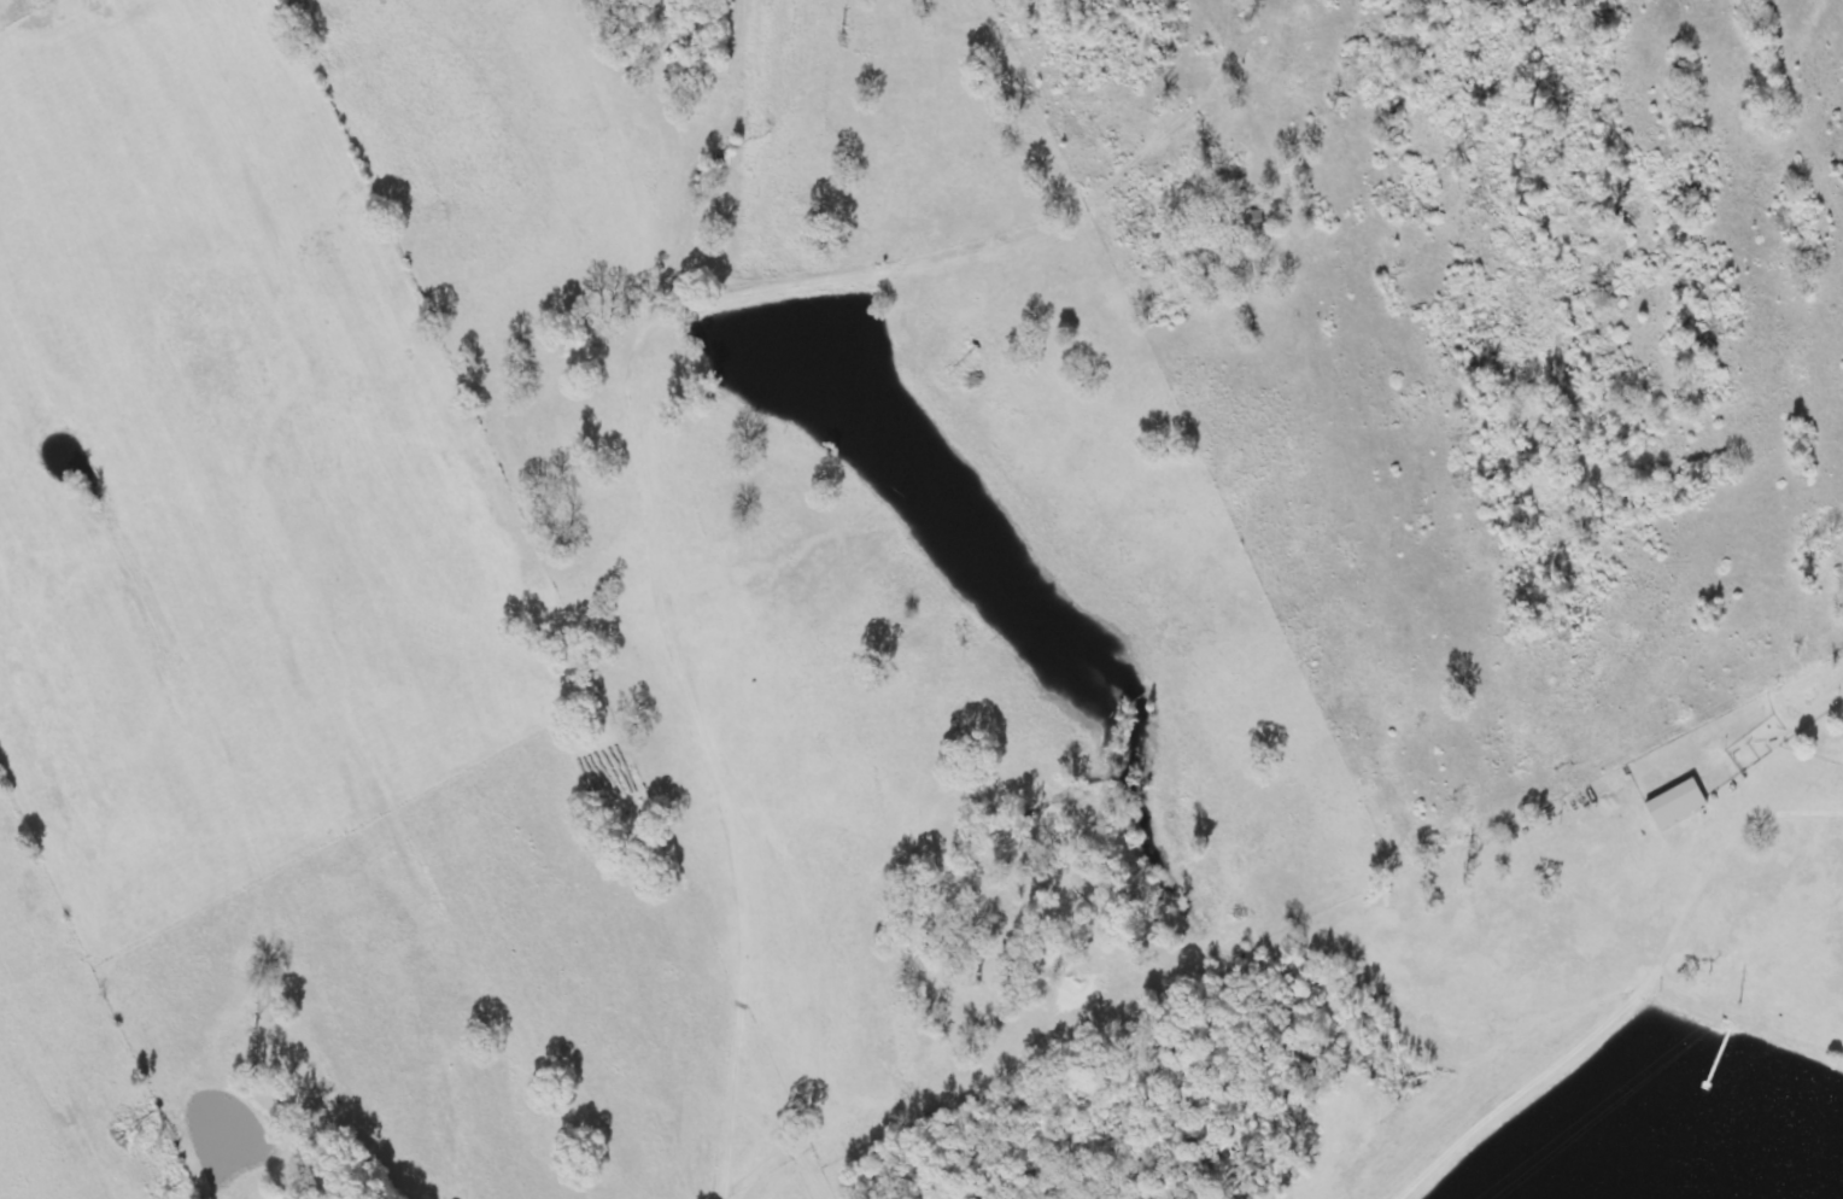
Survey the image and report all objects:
building: (1675, 803)

